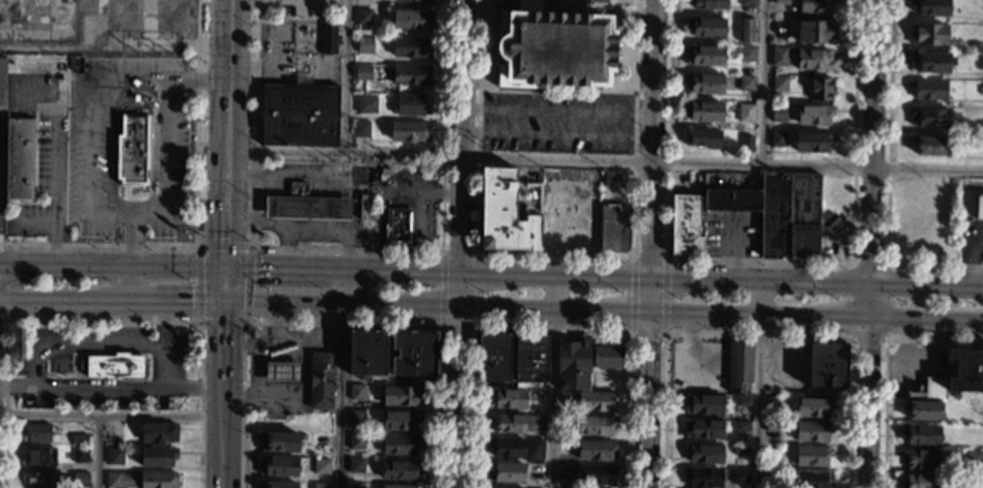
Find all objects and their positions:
building: (414, 0)
building: (591, 1)
building: (747, 2)
building: (780, 2)
building: (709, 4)
parking lot: (305, 7)
building: (815, 7)
building: (931, 7)
building: (363, 16)
building: (412, 20)
building: (707, 27)
building: (745, 31)
building: (816, 31)
building: (928, 34)
building: (328, 38)
building: (364, 45)
building: (411, 48)
building: (554, 48)
building: (746, 53)
building: (704, 55)
building: (779, 56)
building: (814, 59)
building: (71, 63)
building: (931, 63)
building: (363, 72)
building: (409, 75)
road: (343, 77)
building: (2, 83)
building: (705, 83)
building: (746, 83)
building: (779, 83)
road: (764, 84)
road: (126, 85)
building: (821, 89)
building: (929, 89)
road: (89, 90)
building: (980, 90)
road: (149, 98)
building: (367, 105)
building: (409, 105)
building: (704, 111)
road: (556, 112)
building: (745, 112)
building: (778, 113)
building: (299, 114)
building: (814, 115)
building: (929, 117)
building: (361, 128)
building: (409, 131)
road: (225, 136)
road: (556, 137)
building: (777, 138)
building: (704, 139)
building: (813, 143)
building: (746, 144)
building: (930, 145)
building: (130, 151)
building: (19, 159)
road: (107, 159)
road: (871, 160)
road: (604, 162)
road: (167, 164)
road: (312, 176)
building: (622, 176)
building: (611, 177)
road: (55, 179)
building: (904, 193)
building: (306, 205)
building: (978, 206)
building: (365, 207)
building: (778, 211)
building: (533, 214)
road: (124, 215)
road: (195, 219)
building: (830, 222)
building: (686, 225)
road: (305, 227)
building: (398, 227)
building: (614, 228)
road: (130, 242)
road: (457, 243)
road: (649, 243)
road: (284, 249)
road: (27, 267)
road: (92, 268)
road: (176, 271)
road: (274, 272)
traffic signals: (222, 273)
road: (655, 276)
road: (129, 288)
road: (221, 291)
road: (64, 305)
road: (145, 307)
road: (191, 307)
traffic signals: (220, 309)
road: (544, 312)
road: (245, 318)
road: (3, 320)
road: (101, 320)
road: (926, 323)
road: (73, 343)
road: (161, 348)
building: (367, 352)
building: (414, 354)
building: (494, 357)
building: (607, 357)
building: (531, 358)
building: (573, 364)
building: (740, 364)
building: (827, 366)
road: (39, 367)
building: (115, 367)
building: (965, 371)
building: (281, 373)
road: (343, 380)
building: (321, 381)
road: (554, 381)
road: (757, 383)
road: (220, 385)
building: (928, 389)
road: (110, 390)
building: (358, 392)
building: (399, 396)
building: (565, 397)
building: (507, 398)
building: (596, 401)
building: (742, 401)
building: (704, 404)
road: (867, 404)
building: (812, 407)
building: (921, 409)
road: (110, 416)
building: (356, 417)
building: (401, 420)
building: (508, 423)
building: (534, 423)
building: (596, 426)
building: (742, 426)
building: (771, 426)
building: (703, 429)
building: (812, 431)
building: (37, 433)
building: (158, 433)
building: (923, 435)
building: (79, 439)
building: (356, 441)
building: (279, 442)
building: (399, 444)
building: (508, 447)
building: (535, 448)
building: (595, 450)
building: (740, 450)
road: (99, 452)
building: (704, 453)
building: (79, 456)
building: (113, 456)
building: (812, 456)
building: (39, 457)
building: (156, 458)
building: (921, 459)
building: (355, 465)
building: (278, 466)
building: (321, 466)
building: (400, 470)
building: (564, 471)
building: (506, 472)
road: (219, 474)
building: (595, 474)
building: (703, 478)
building: (739, 478)
building: (771, 478)
building: (120, 479)
building: (812, 479)
building: (44, 480)
building: (80, 480)
building: (158, 480)
building: (920, 481)
building: (982, 483)
building: (278, 485)
building: (321, 485)
building: (356, 486)
building: (397, 486)
building: (500, 487)
building: (530, 487)

